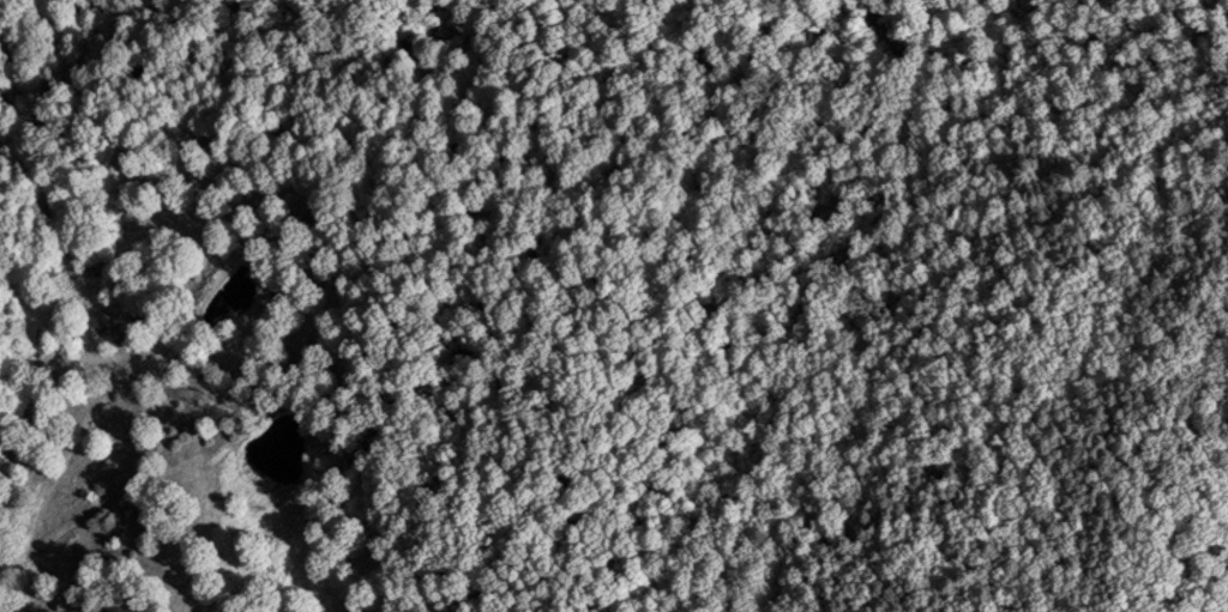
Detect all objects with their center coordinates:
road: (88, 515)

